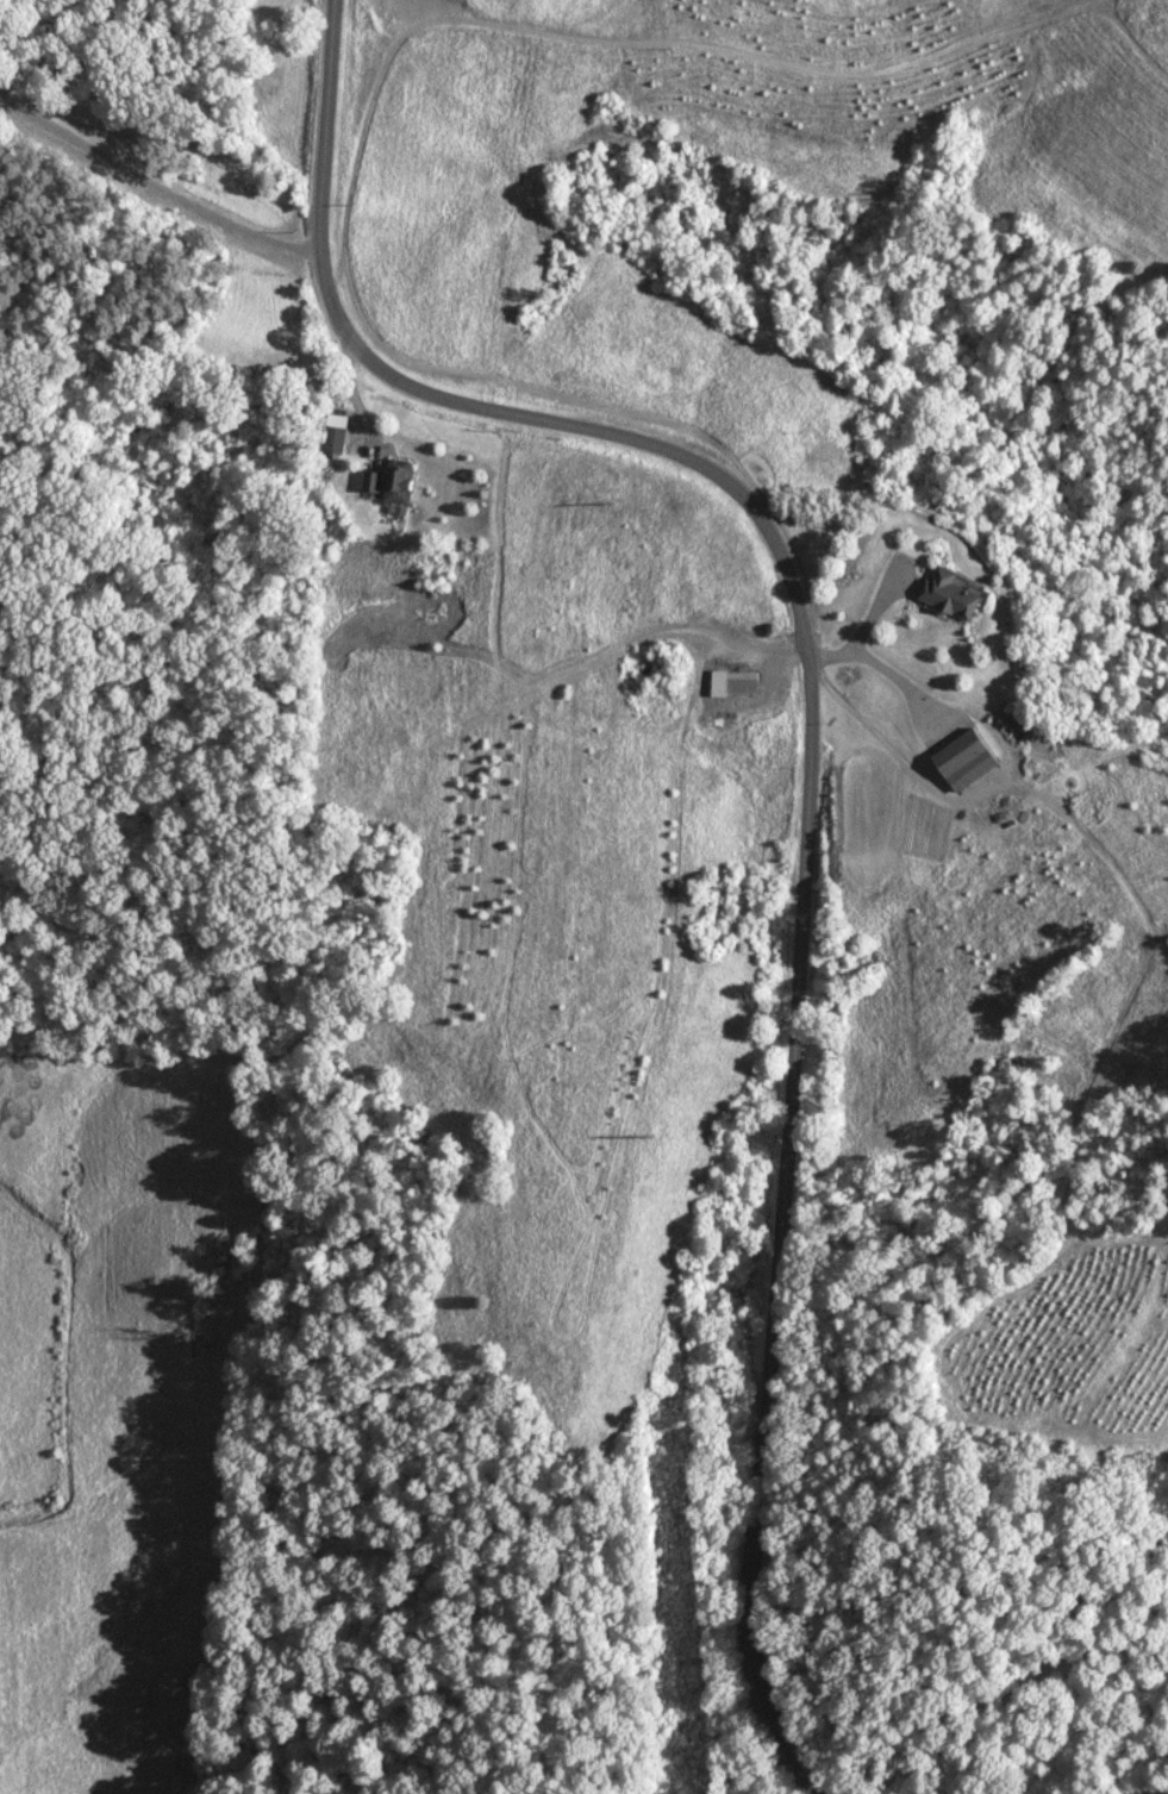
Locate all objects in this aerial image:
road: (155, 188)
building: (332, 440)
building: (391, 483)
building: (949, 596)
building: (732, 683)
road: (807, 756)
building: (963, 761)
road: (999, 770)
road: (1153, 1789)

